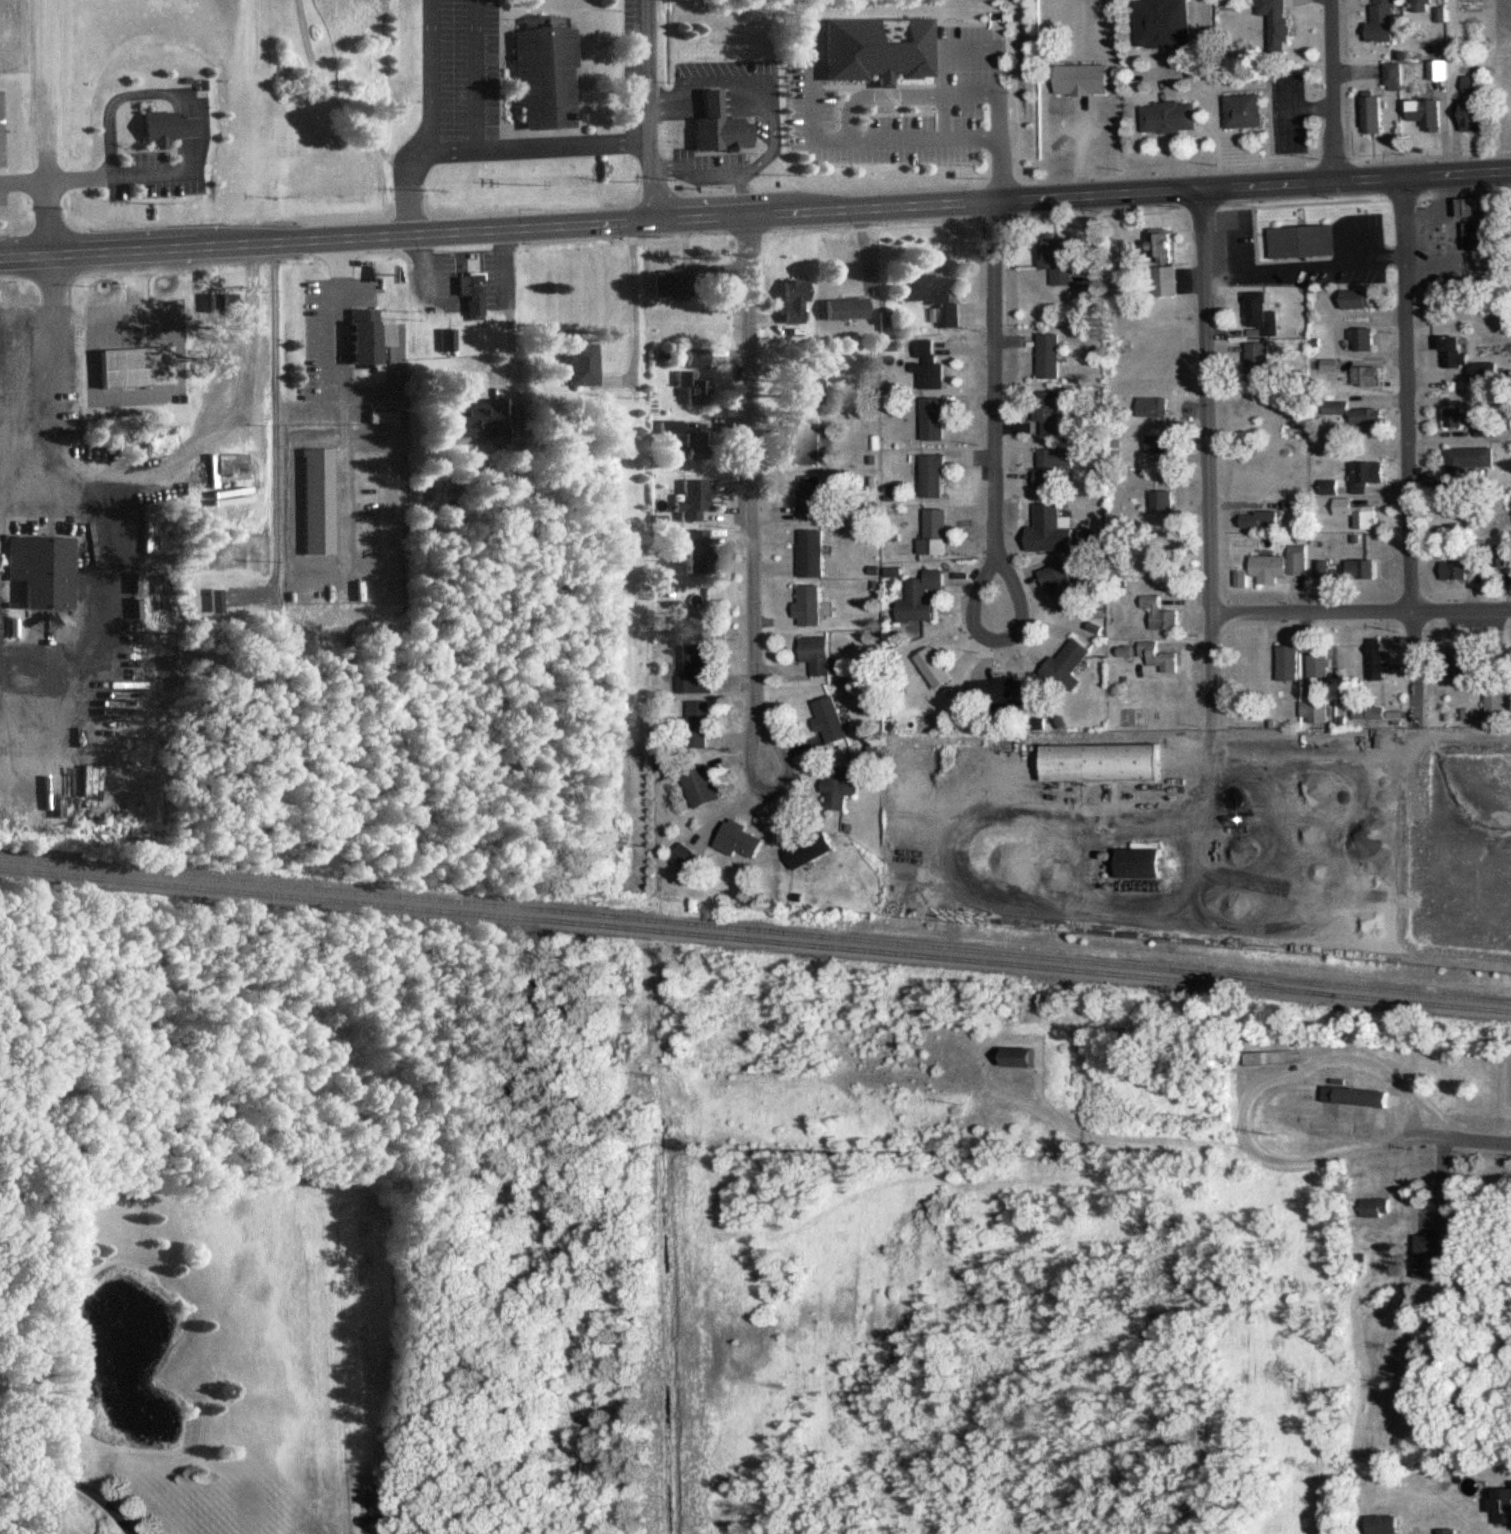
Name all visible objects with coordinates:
building: (1426, 6)
building: (1383, 20)
building: (1276, 22)
building: (1162, 23)
building: (546, 73)
building: (1437, 74)
building: (1392, 75)
building: (1082, 78)
building: (1470, 83)
road: (1332, 91)
road: (193, 99)
road: (652, 110)
building: (1243, 110)
building: (1372, 111)
building: (1425, 113)
building: (1473, 115)
building: (1168, 116)
building: (720, 125)
building: (168, 127)
road: (1456, 174)
road: (56, 177)
road: (1367, 180)
road: (1268, 185)
road: (951, 204)
building: (1474, 205)
road: (47, 216)
building: (1484, 233)
road: (350, 237)
building: (1303, 242)
road: (415, 250)
building: (1058, 263)
building: (1162, 263)
building: (670, 284)
road: (136, 285)
building: (472, 291)
building: (848, 295)
building: (932, 295)
road: (634, 299)
building: (1356, 299)
building: (796, 301)
building: (226, 302)
road: (509, 303)
building: (1259, 313)
building: (365, 335)
building: (1360, 339)
building: (448, 340)
building: (1453, 351)
building: (1048, 356)
road: (11, 360)
building: (1257, 362)
building: (582, 363)
building: (928, 365)
building: (137, 367)
building: (1484, 371)
building: (686, 375)
building: (1364, 376)
building: (811, 385)
building: (1151, 406)
building: (1049, 411)
building: (1355, 415)
building: (1457, 417)
building: (934, 419)
building: (478, 420)
road: (277, 425)
building: (670, 426)
building: (809, 441)
building: (697, 444)
building: (1159, 448)
road: (1407, 449)
building: (1470, 458)
building: (231, 462)
road: (1209, 463)
building: (1051, 464)
building: (932, 475)
building: (1365, 475)
road: (15, 477)
road: (997, 480)
building: (1328, 487)
building: (811, 497)
building: (318, 500)
building: (692, 500)
building: (1162, 500)
building: (1456, 508)
building: (1357, 511)
building: (1259, 520)
building: (1054, 529)
building: (935, 533)
building: (696, 551)
building: (811, 553)
road: (753, 559)
building: (1279, 565)
building: (1323, 567)
building: (1363, 568)
building: (42, 569)
building: (1453, 569)
building: (1060, 586)
building: (921, 597)
building: (216, 599)
building: (808, 605)
road: (1461, 611)
road: (1312, 613)
building: (1160, 614)
building: (817, 654)
building: (1159, 656)
road: (71, 660)
building: (1465, 660)
building: (1319, 661)
building: (1288, 663)
building: (1068, 664)
building: (1375, 664)
building: (935, 667)
building: (695, 668)
building: (997, 691)
building: (1495, 704)
building: (1314, 711)
building: (1359, 713)
building: (830, 720)
building: (699, 725)
building: (1103, 762)
building: (840, 786)
building: (701, 787)
building: (739, 840)
building: (802, 853)
building: (686, 856)
building: (1140, 864)
railway: (755, 930)
railway: (755, 940)
railway: (1273, 985)
building: (1020, 1057)
building: (1271, 1058)
building: (1356, 1096)
road: (1460, 1141)
building: (1375, 1206)
building: (1430, 1255)
road: (33, 1465)
road: (102, 1500)
road: (32, 1501)
building: (1503, 1505)
building: (1383, 1524)
building: (1447, 1531)

